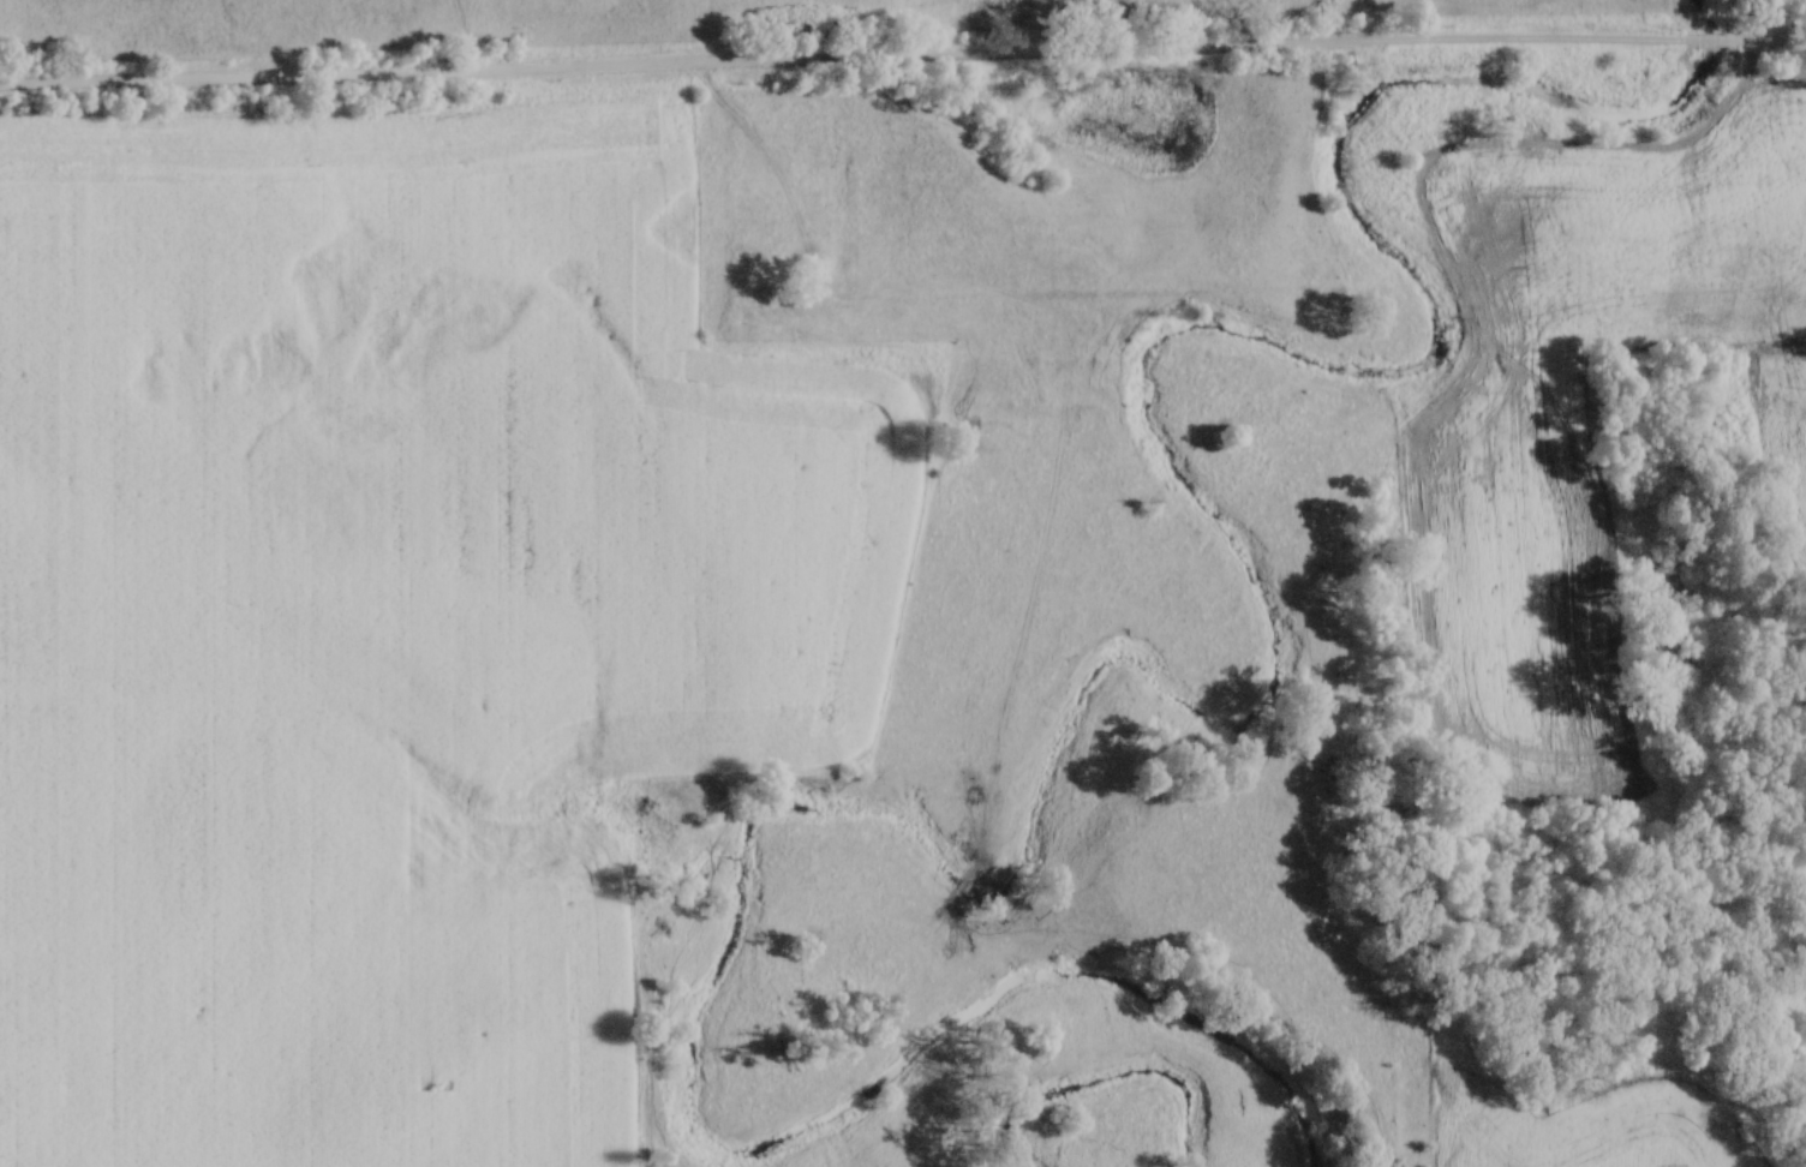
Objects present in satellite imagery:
road: (1774, 40)
road: (1709, 41)
road: (837, 58)
river: (1089, 681)
river: (1101, 1079)

